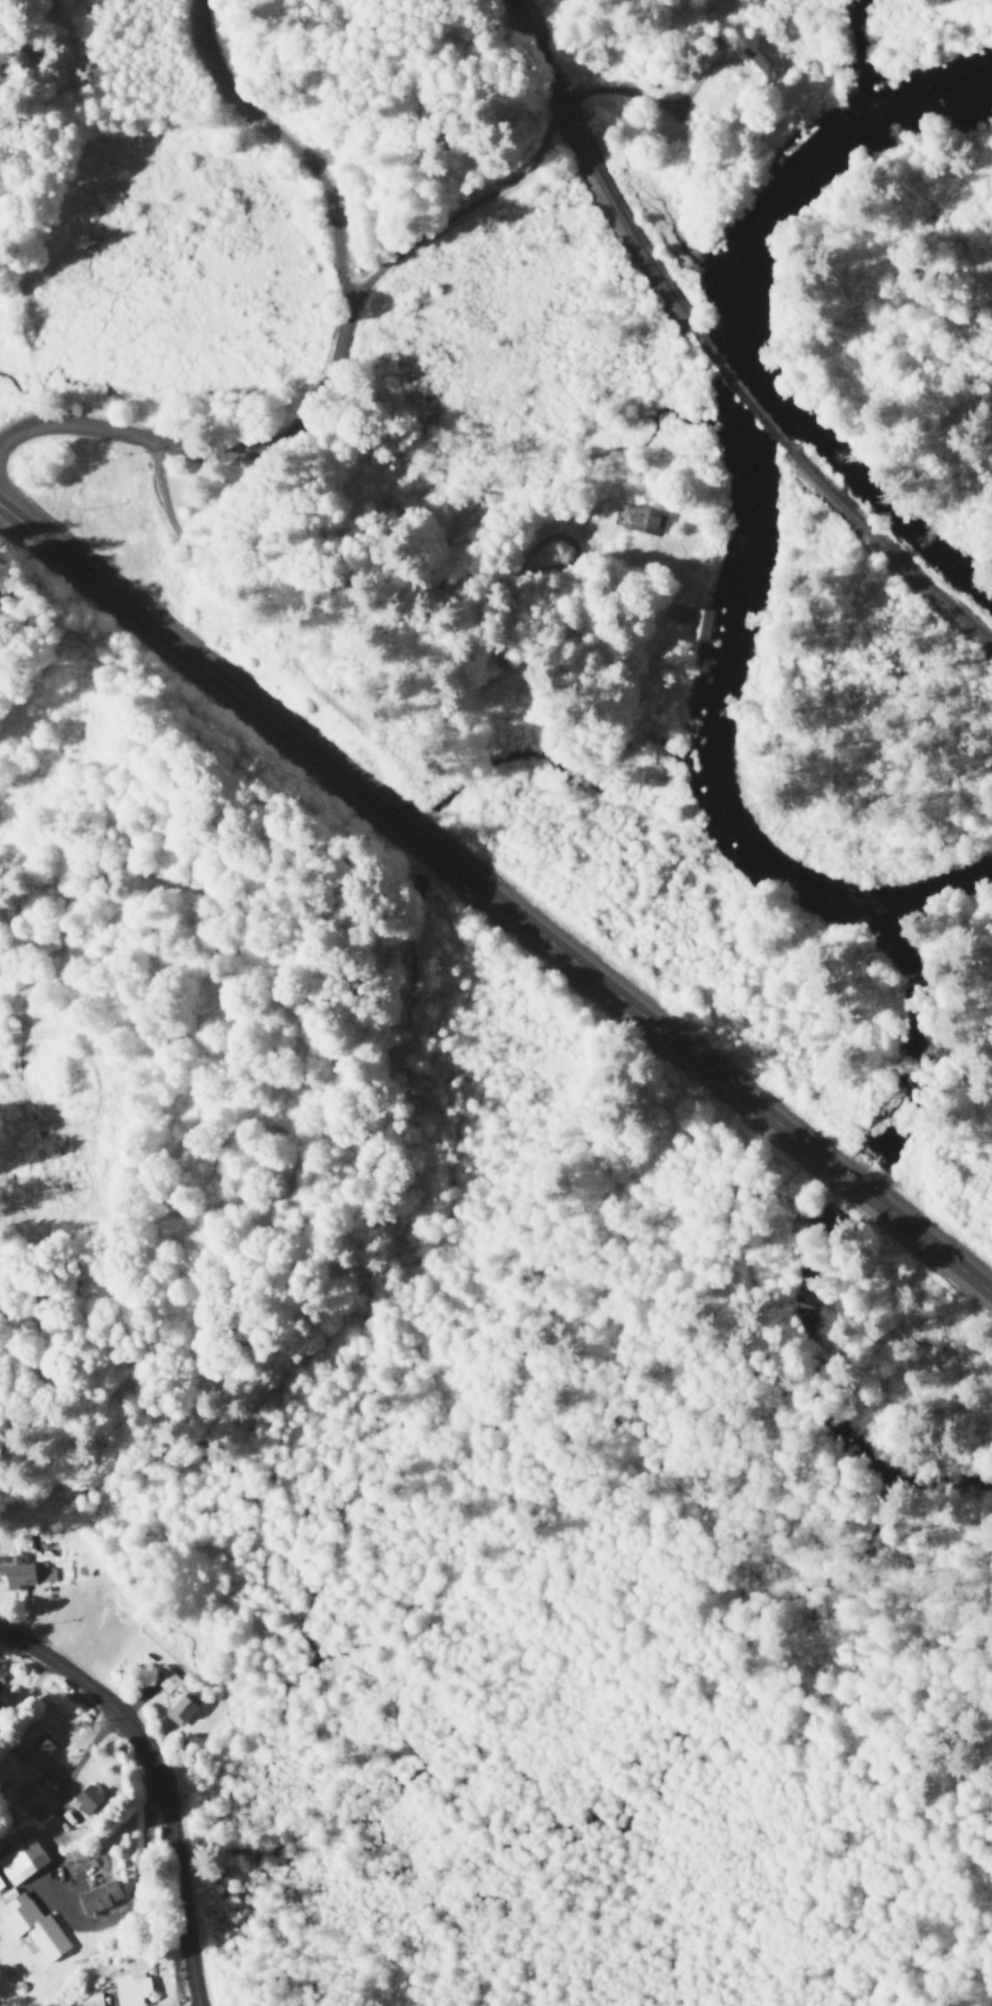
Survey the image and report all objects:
building: (772, 58)
railway: (592, 175)
road: (324, 397)
railway: (746, 398)
building: (639, 520)
railway: (890, 557)
road: (396, 580)
building: (697, 621)
road: (496, 903)
road: (87, 979)
building: (26, 1575)
building: (168, 1681)
building: (185, 1712)
building: (41, 1755)
road: (79, 1781)
road: (162, 1781)
building: (27, 1800)
building: (94, 1801)
building: (23, 1864)
building: (104, 1900)
building: (34, 1929)
building: (134, 1992)

